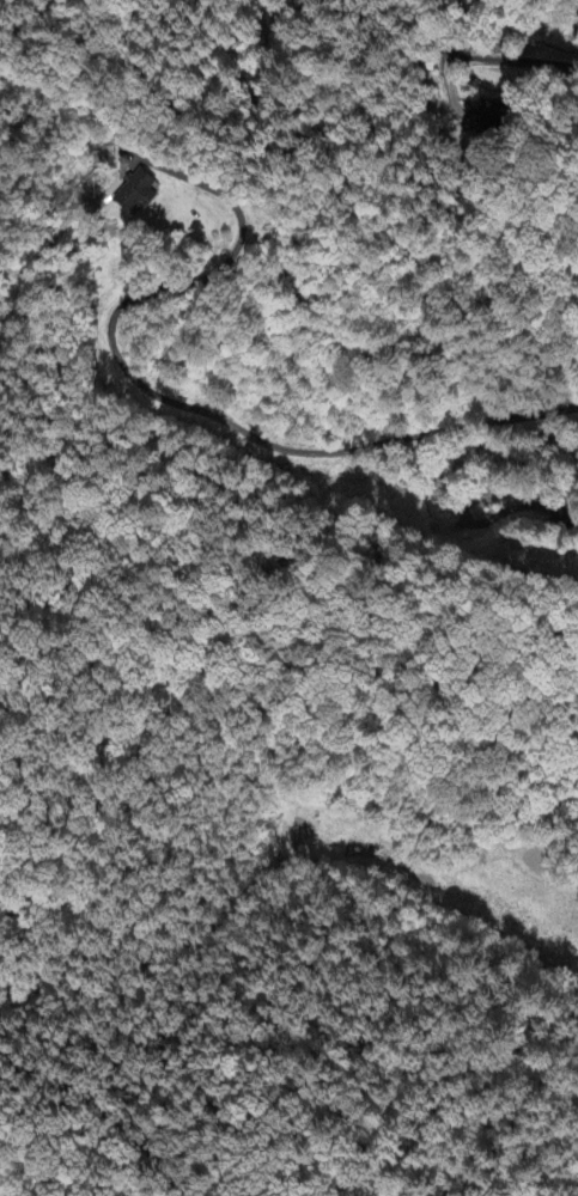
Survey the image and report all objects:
building: (485, 117)
building: (130, 193)

